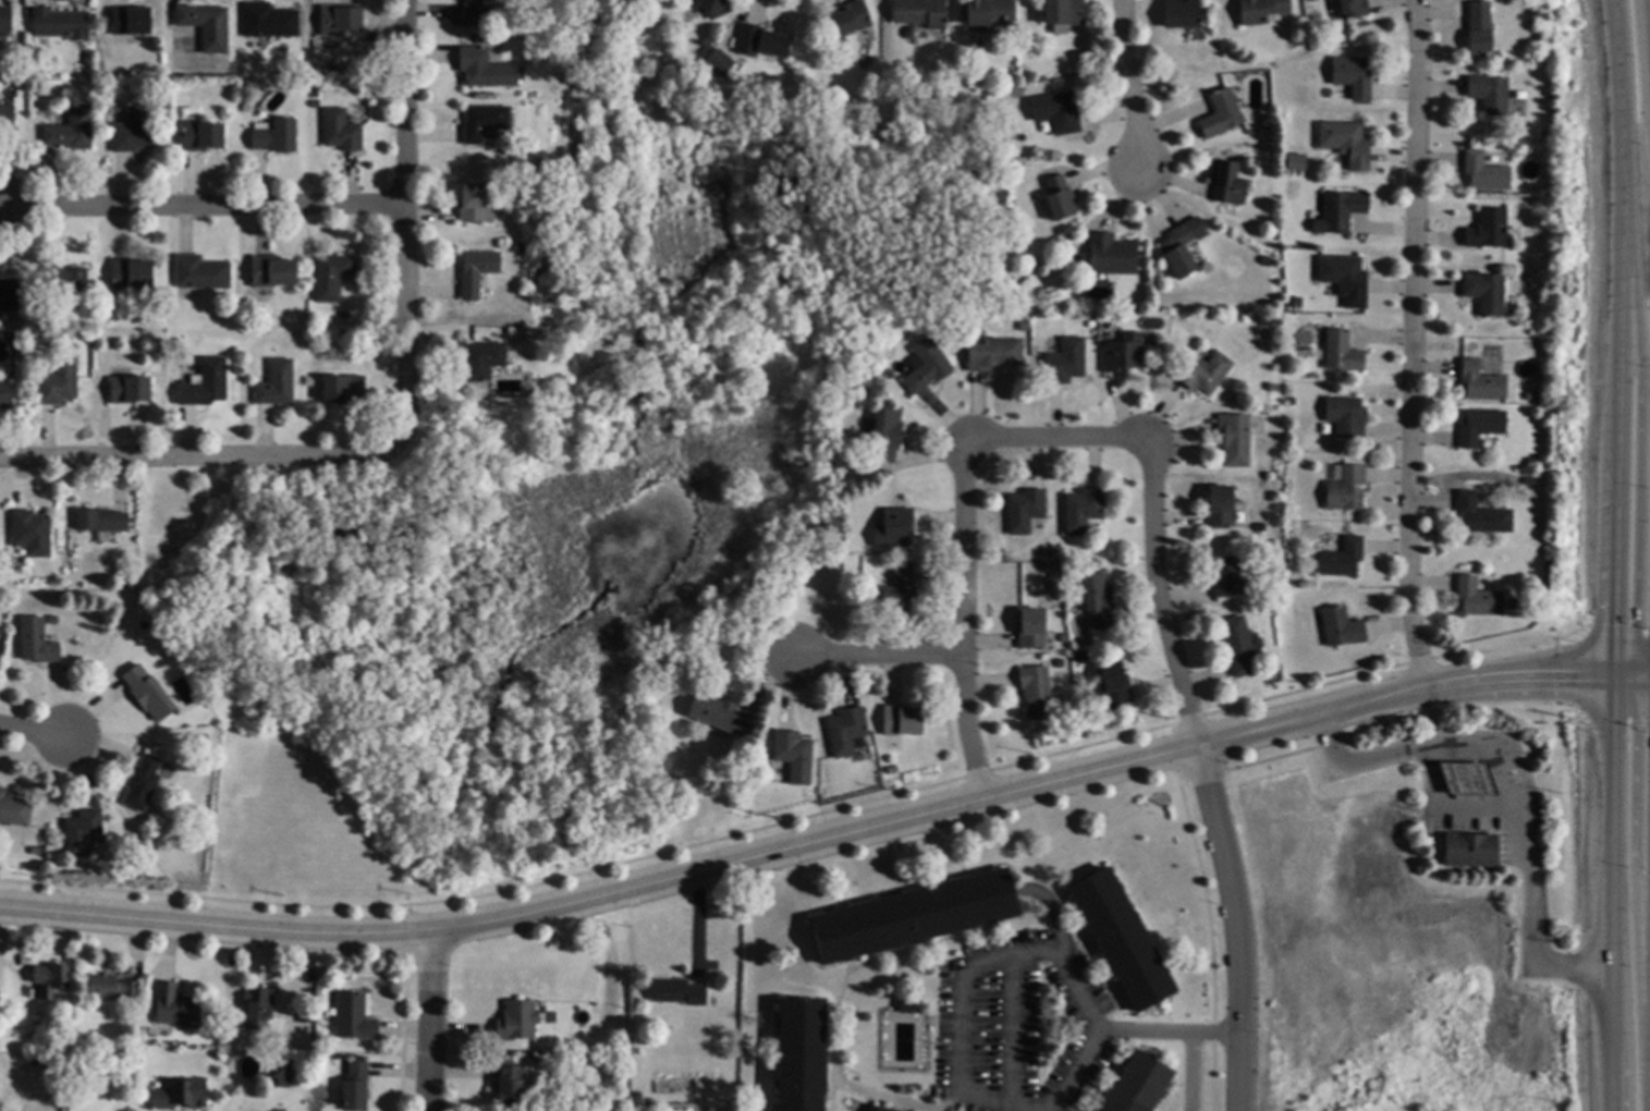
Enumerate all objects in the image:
building: (643, 2)
building: (718, 8)
building: (1354, 8)
building: (479, 9)
building: (1261, 10)
building: (1065, 11)
building: (921, 12)
building: (1184, 12)
building: (988, 13)
road: (1648, 13)
building: (5, 17)
building: (851, 17)
building: (341, 19)
building: (271, 21)
building: (131, 22)
building: (316, 23)
building: (62, 24)
building: (208, 25)
building: (1480, 27)
building: (913, 33)
building: (1335, 37)
building: (482, 38)
building: (762, 41)
building: (843, 42)
building: (180, 44)
building: (368, 56)
building: (866, 58)
building: (720, 62)
building: (480, 68)
building: (39, 69)
building: (1354, 75)
building: (1010, 77)
road: (1129, 86)
building: (1491, 94)
building: (944, 97)
building: (317, 103)
building: (1059, 111)
building: (1223, 113)
building: (8, 117)
building: (486, 121)
building: (1267, 121)
building: (73, 130)
building: (134, 131)
building: (342, 131)
building: (203, 135)
building: (277, 136)
building: (1346, 141)
building: (1293, 162)
building: (1255, 163)
building: (1486, 171)
building: (1229, 181)
building: (989, 182)
building: (1061, 197)
building: (475, 203)
road: (204, 204)
building: (1343, 209)
road: (405, 227)
building: (1490, 228)
building: (518, 247)
building: (1181, 249)
building: (1113, 254)
building: (273, 270)
building: (477, 270)
building: (133, 271)
building: (201, 272)
building: (1345, 274)
building: (332, 276)
building: (71, 284)
building: (1487, 292)
building: (9, 294)
building: (346, 316)
building: (1092, 323)
building: (1027, 327)
building: (497, 338)
road: (1618, 338)
building: (1156, 340)
road: (1400, 345)
building: (1343, 351)
building: (68, 352)
building: (994, 353)
building: (1126, 353)
building: (484, 361)
building: (1067, 361)
building: (928, 366)
building: (1206, 371)
building: (1483, 381)
building: (60, 382)
building: (207, 383)
building: (278, 383)
building: (132, 389)
building: (345, 389)
building: (5, 392)
building: (1535, 395)
building: (1347, 416)
building: (1481, 425)
building: (888, 432)
road: (1025, 436)
building: (1236, 439)
road: (197, 452)
road: (1636, 464)
building: (861, 467)
building: (1532, 480)
building: (1347, 488)
building: (1222, 505)
building: (1085, 509)
building: (1027, 510)
building: (1480, 514)
building: (102, 520)
building: (1262, 526)
building: (895, 528)
building: (34, 532)
building: (1051, 554)
building: (1343, 558)
park: (517, 570)
building: (1226, 576)
building: (131, 583)
building: (1263, 584)
building: (894, 590)
building: (1479, 597)
building: (1100, 600)
building: (1515, 602)
building: (53, 620)
building: (0, 626)
building: (1342, 626)
building: (1032, 627)
building: (1065, 637)
building: (37, 640)
building: (1239, 645)
road: (868, 652)
building: (1061, 662)
road: (1584, 677)
traffic signals: (1609, 677)
road: (1629, 677)
building: (1115, 685)
building: (1037, 691)
building: (148, 692)
building: (723, 716)
building: (902, 720)
building: (847, 730)
road: (32, 734)
road: (1609, 735)
building: (203, 737)
road: (1459, 748)
building: (795, 755)
building: (893, 769)
building: (1466, 781)
building: (144, 782)
building: (743, 802)
building: (15, 808)
building: (84, 832)
road: (806, 835)
building: (37, 850)
building: (1467, 851)
road: (1633, 870)
building: (915, 915)
road: (1238, 924)
building: (1123, 939)
road: (1014, 950)
road: (1608, 952)
road: (1533, 960)
building: (52, 979)
building: (113, 987)
building: (679, 991)
building: (147, 1004)
building: (175, 1006)
building: (906, 1006)
building: (259, 1008)
building: (355, 1017)
road: (430, 1021)
building: (518, 1021)
road: (1007, 1030)
road: (1164, 1030)
road: (1648, 1047)
building: (87, 1048)
building: (46, 1054)
building: (802, 1055)
building: (283, 1064)
road: (1190, 1072)
building: (510, 1082)
building: (1138, 1085)
building: (357, 1086)
building: (182, 1094)
road: (880, 1098)
road: (955, 1103)
road: (1647, 1108)
building: (883, 1109)
building: (875, 1110)

